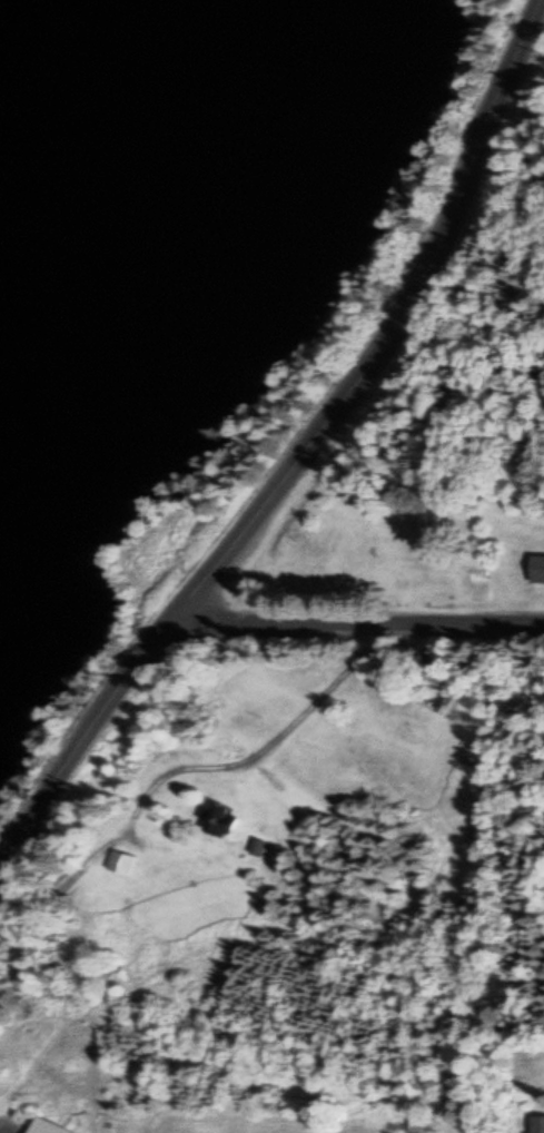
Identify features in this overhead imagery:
road: (294, 454)
building: (536, 569)
road: (360, 619)
building: (221, 820)
building: (258, 847)
building: (128, 864)
building: (522, 1082)
building: (536, 1124)
building: (46, 1126)

